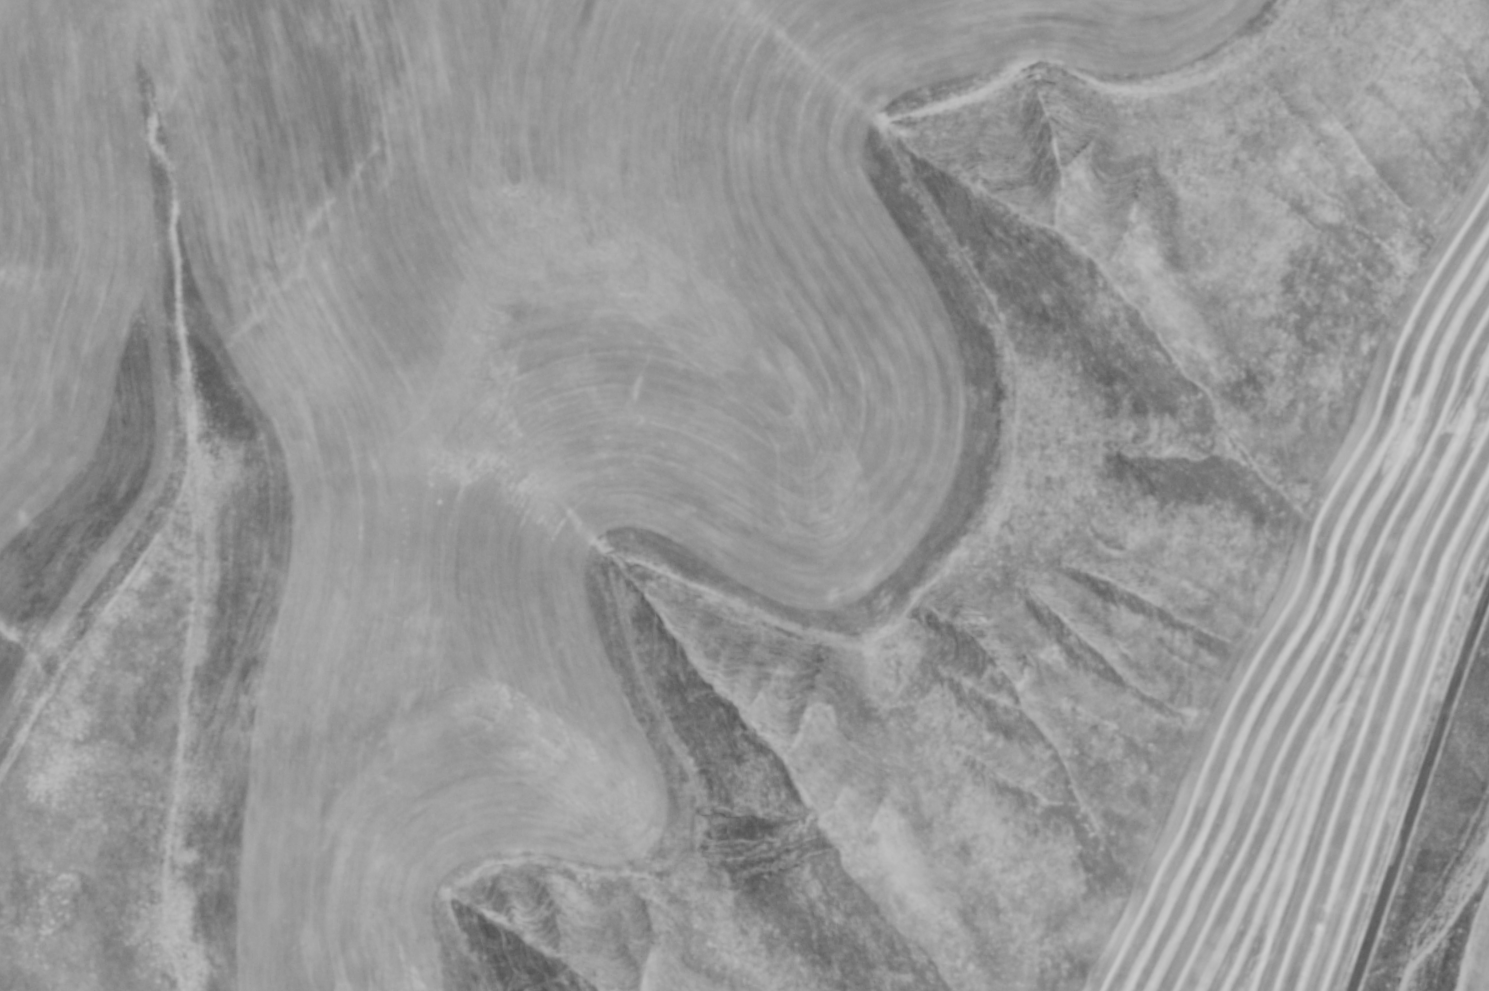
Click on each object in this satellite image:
road: (1419, 784)

